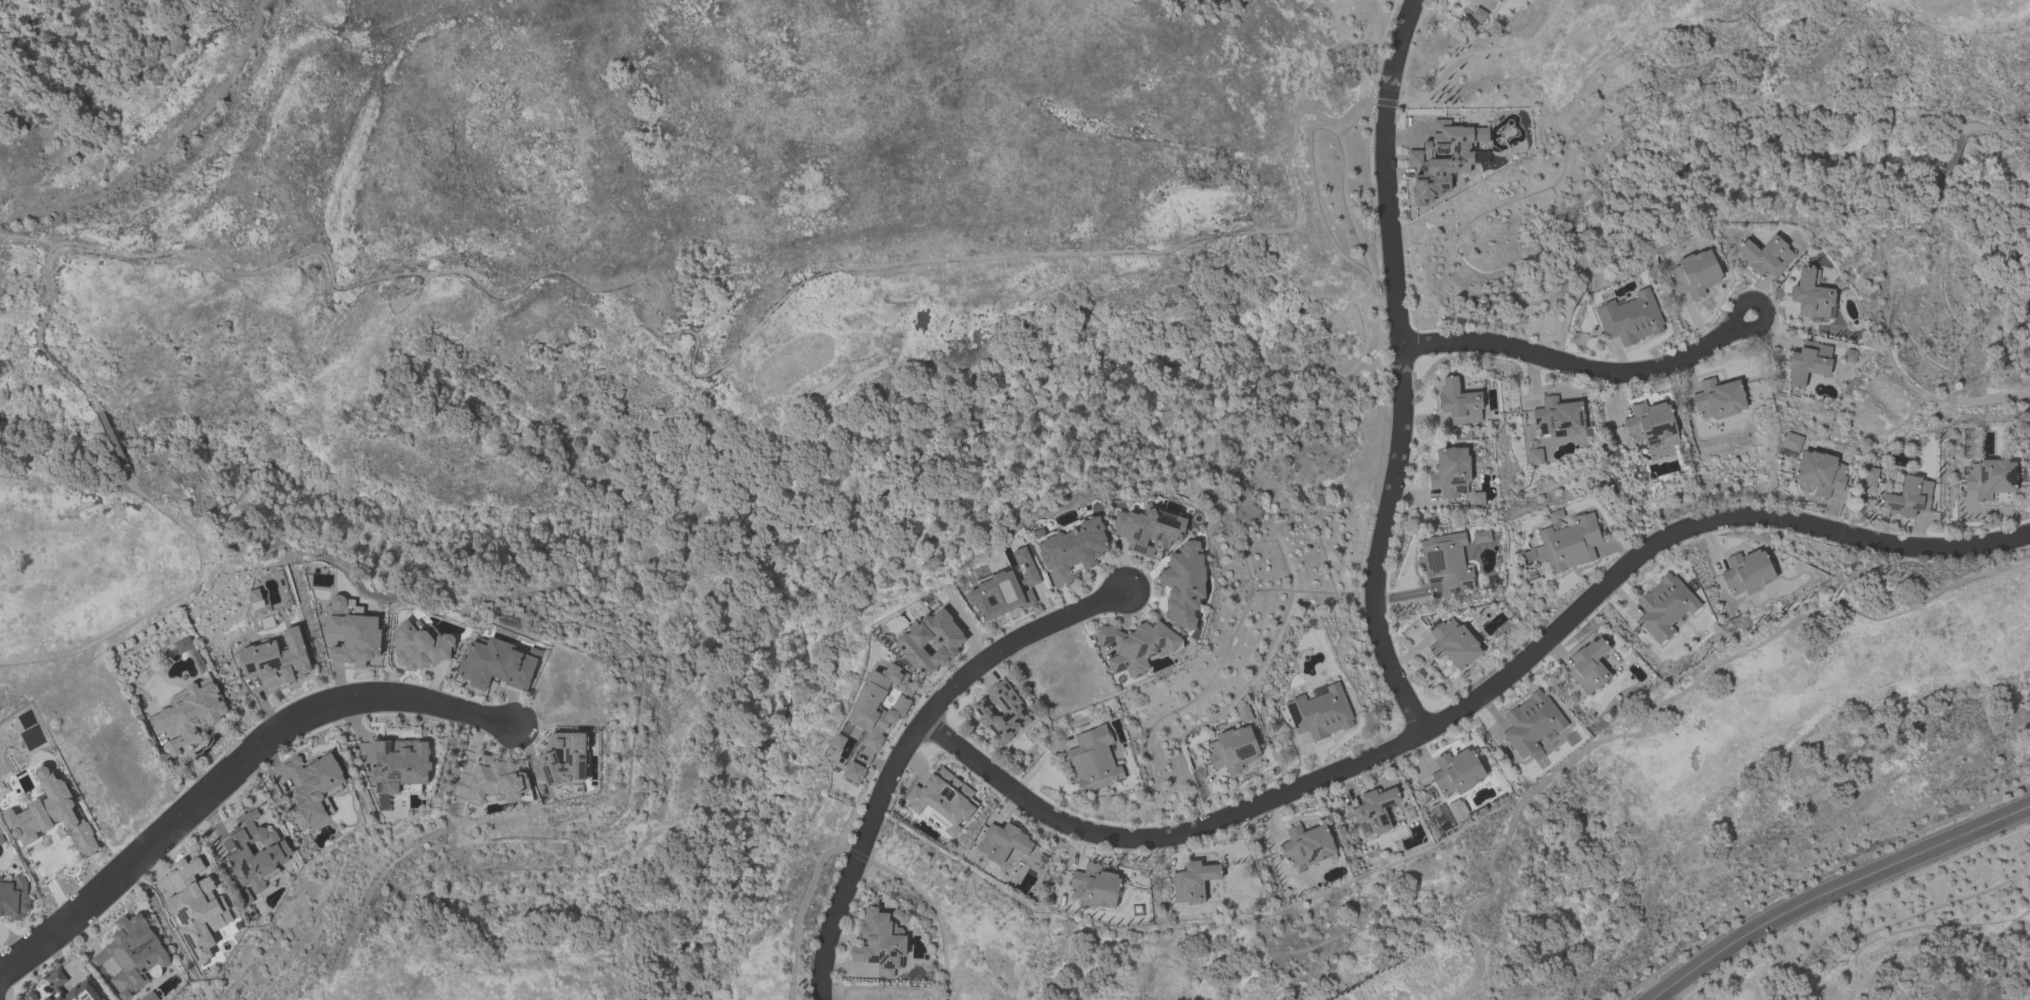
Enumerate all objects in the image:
building: (1488, 4)
building: (1477, 15)
road: (1477, 53)
road: (166, 150)
building: (1443, 158)
park: (1810, 167)
building: (1765, 256)
road: (1886, 271)
building: (1695, 274)
building: (1811, 295)
building: (1630, 318)
building: (1808, 363)
road: (1404, 371)
road: (1585, 375)
building: (1718, 399)
building: (1459, 402)
park: (634, 408)
building: (1558, 417)
building: (1651, 425)
building: (1792, 443)
building: (1534, 456)
building: (1451, 472)
building: (1820, 473)
building: (1869, 478)
building: (1989, 478)
building: (1908, 497)
building: (1477, 499)
building: (1147, 530)
building: (1480, 536)
building: (1569, 543)
building: (1071, 550)
building: (1446, 563)
building: (1747, 572)
building: (1183, 584)
building: (1005, 589)
building: (255, 598)
building: (1664, 607)
building: (353, 632)
building: (931, 641)
building: (1453, 643)
building: (183, 645)
building: (420, 646)
building: (1135, 646)
building: (277, 660)
building: (496, 665)
building: (1589, 666)
road: (1476, 700)
building: (881, 704)
building: (1001, 711)
building: (1320, 712)
building: (189, 713)
building: (1531, 724)
road: (907, 743)
building: (1233, 750)
building: (564, 758)
building: (1093, 760)
building: (398, 767)
building: (854, 772)
building: (1457, 772)
road: (239, 779)
building: (496, 780)
building: (312, 786)
building: (943, 800)
park: (1635, 805)
building: (1374, 811)
building: (1457, 811)
building: (51, 816)
building: (1003, 843)
building: (1307, 846)
building: (255, 852)
building: (1193, 882)
building: (1094, 886)
road: (1834, 890)
building: (14, 898)
building: (196, 907)
road: (13, 942)
building: (879, 943)
building: (132, 955)
park: (541, 957)
building: (56, 984)
park: (1731, 986)
building: (149, 996)
building: (28, 997)

